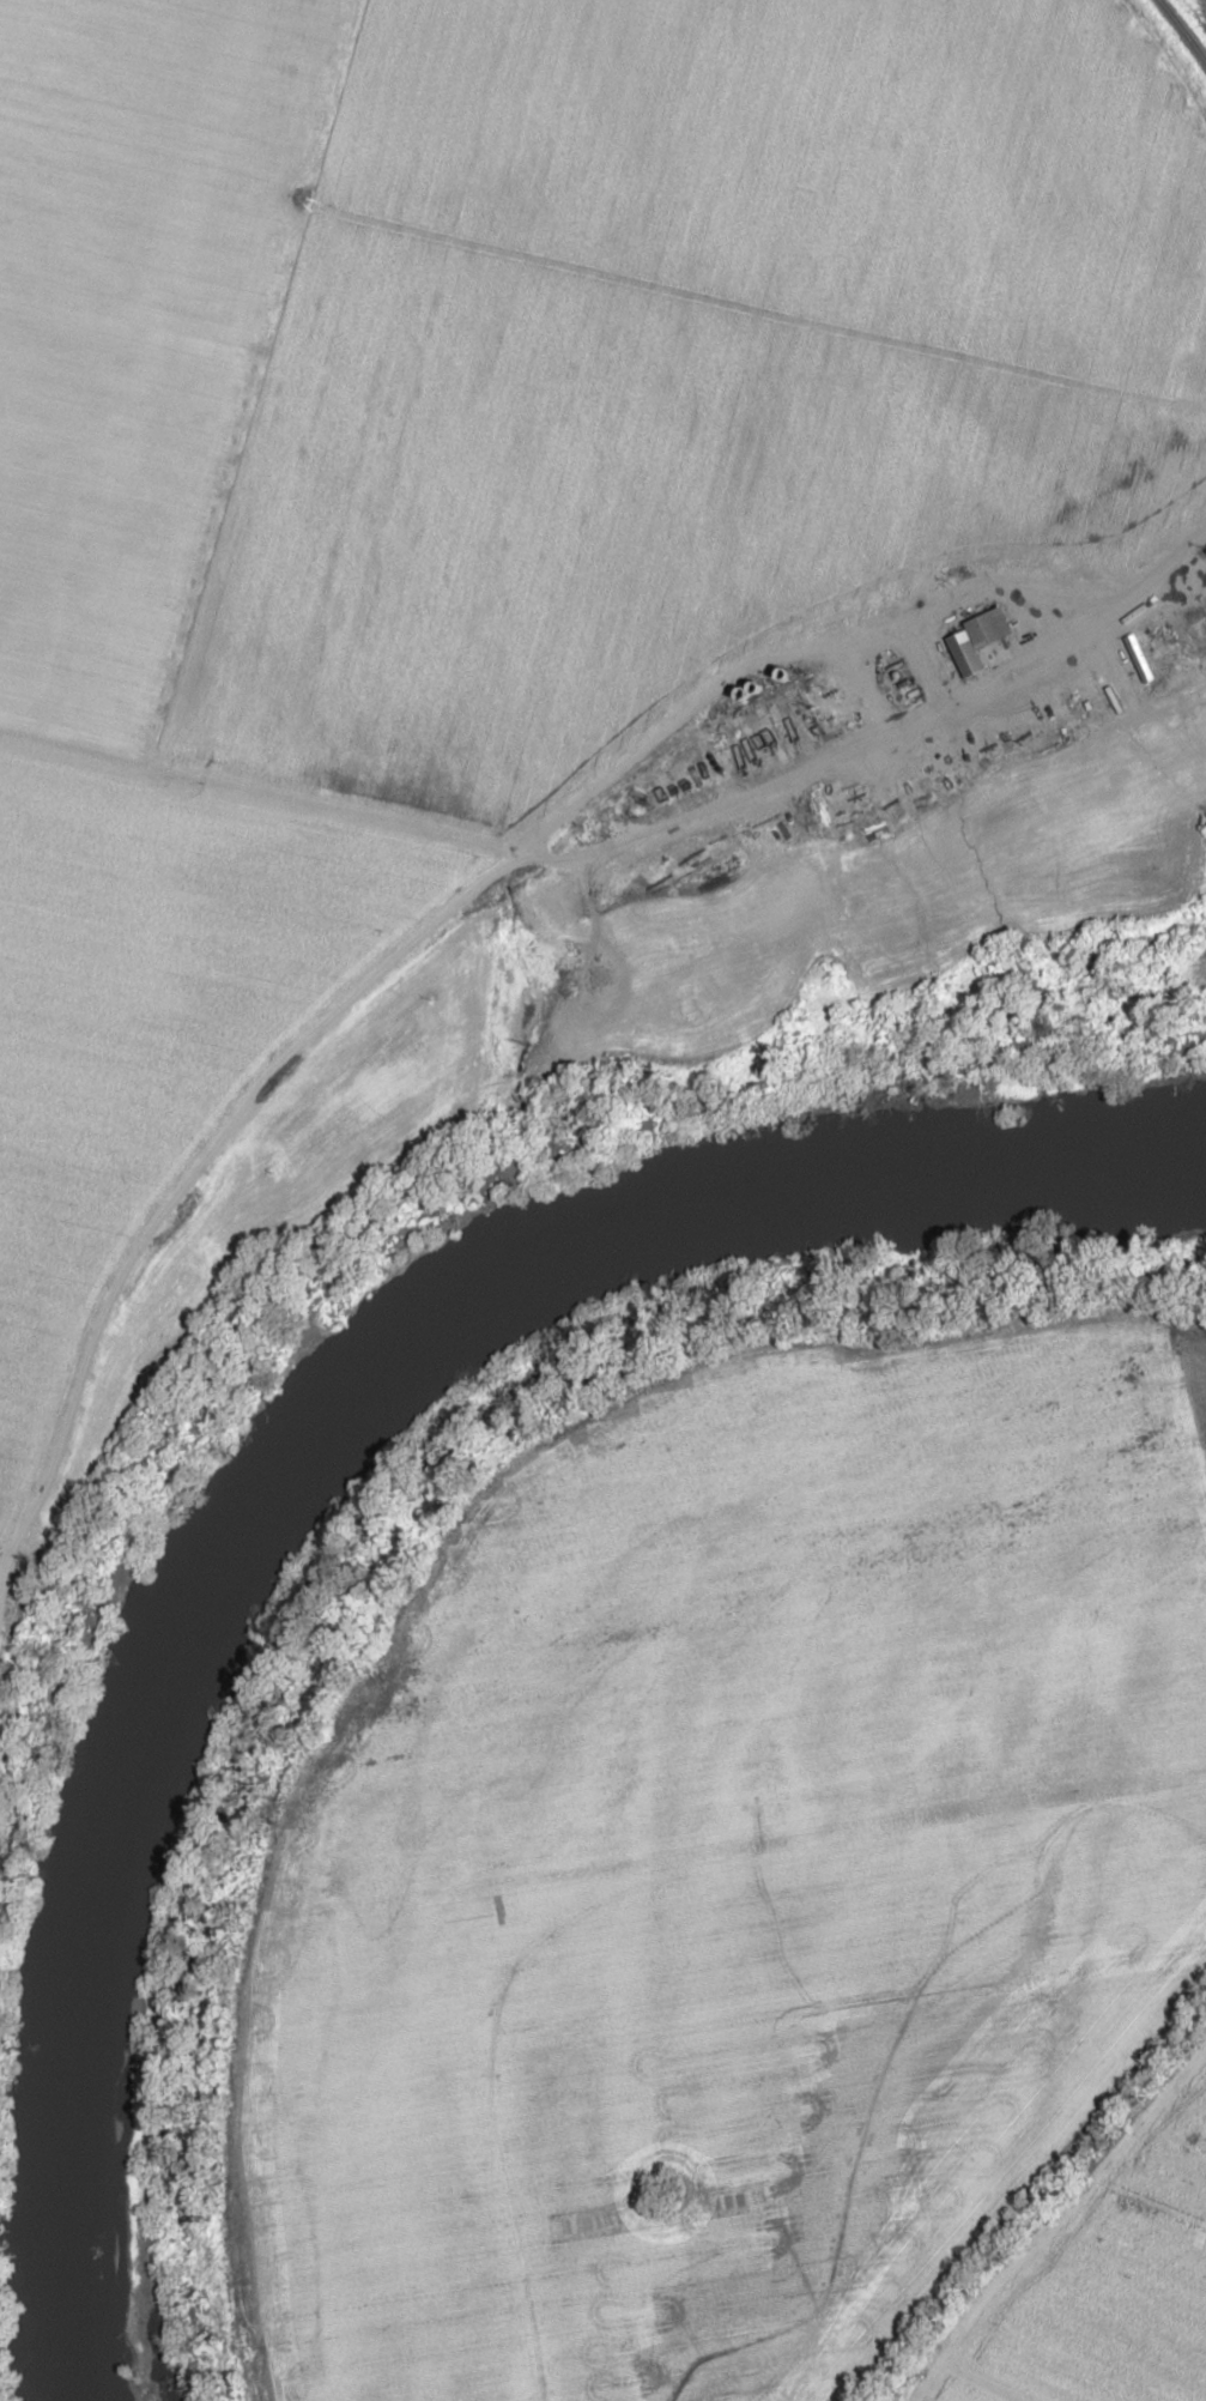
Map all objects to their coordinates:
railway: (1182, 32)
road: (1194, 537)
building: (977, 635)
building: (828, 708)
building: (681, 793)
building: (635, 816)
building: (705, 845)
road: (622, 847)
road: (594, 906)
road: (418, 938)
road: (229, 1278)
river: (297, 1459)

